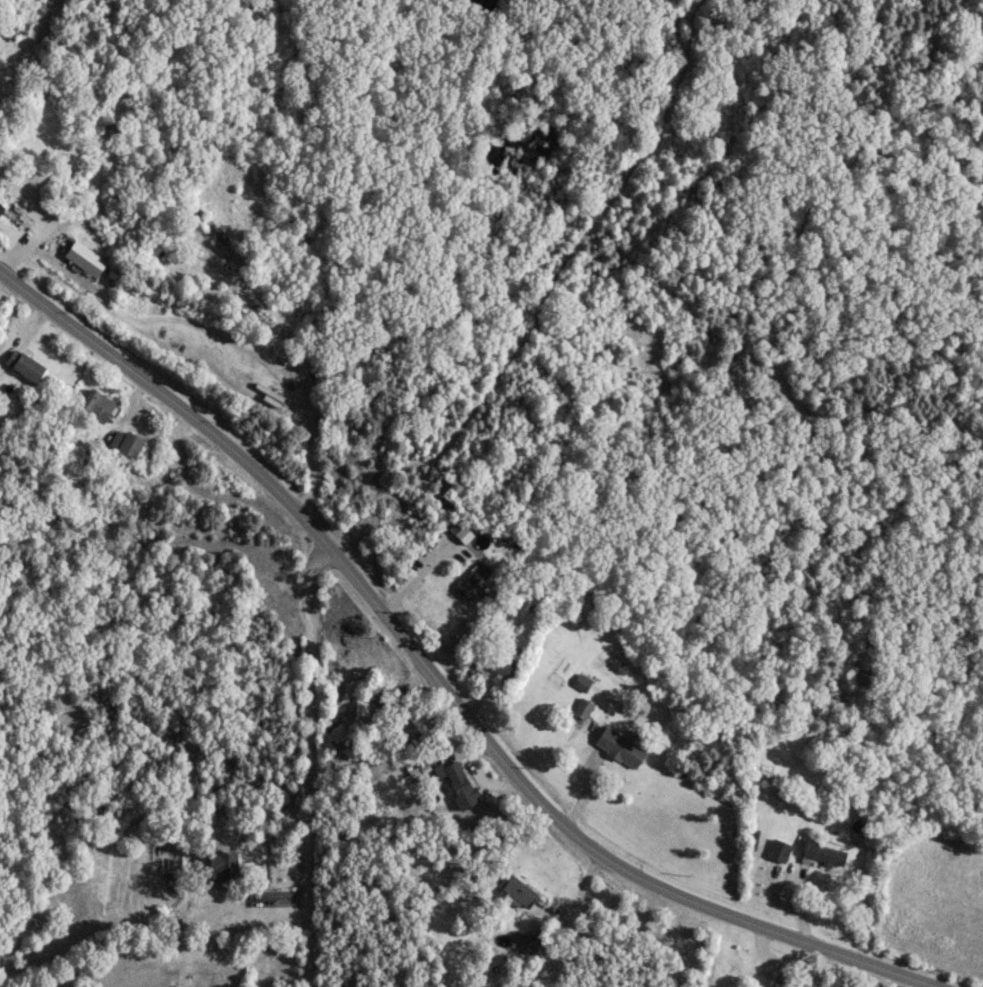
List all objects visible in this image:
building: (1, 207)
building: (211, 226)
building: (84, 257)
building: (24, 364)
road: (300, 368)
building: (269, 394)
road: (168, 398)
building: (97, 404)
building: (125, 441)
building: (462, 533)
building: (472, 580)
building: (501, 663)
building: (580, 682)
building: (581, 707)
building: (619, 747)
road: (299, 761)
building: (459, 783)
building: (785, 794)
road: (577, 836)
building: (777, 849)
building: (823, 852)
building: (224, 866)
building: (517, 889)
building: (169, 927)
building: (523, 939)
road: (819, 967)
building: (765, 986)

